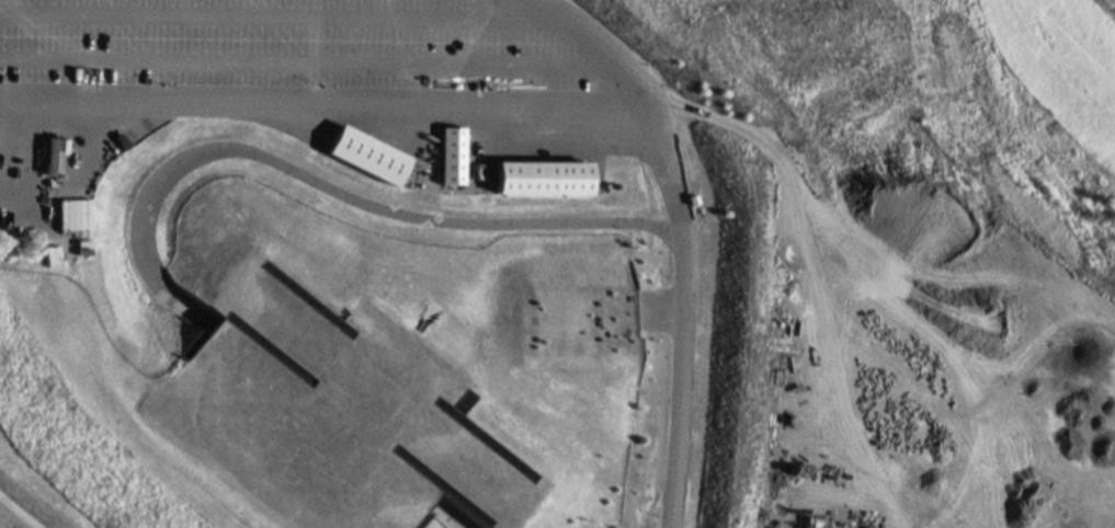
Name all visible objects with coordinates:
road: (269, 13)
road: (582, 48)
road: (318, 112)
road: (330, 188)
road: (673, 317)
road: (18, 505)
road: (448, 518)

